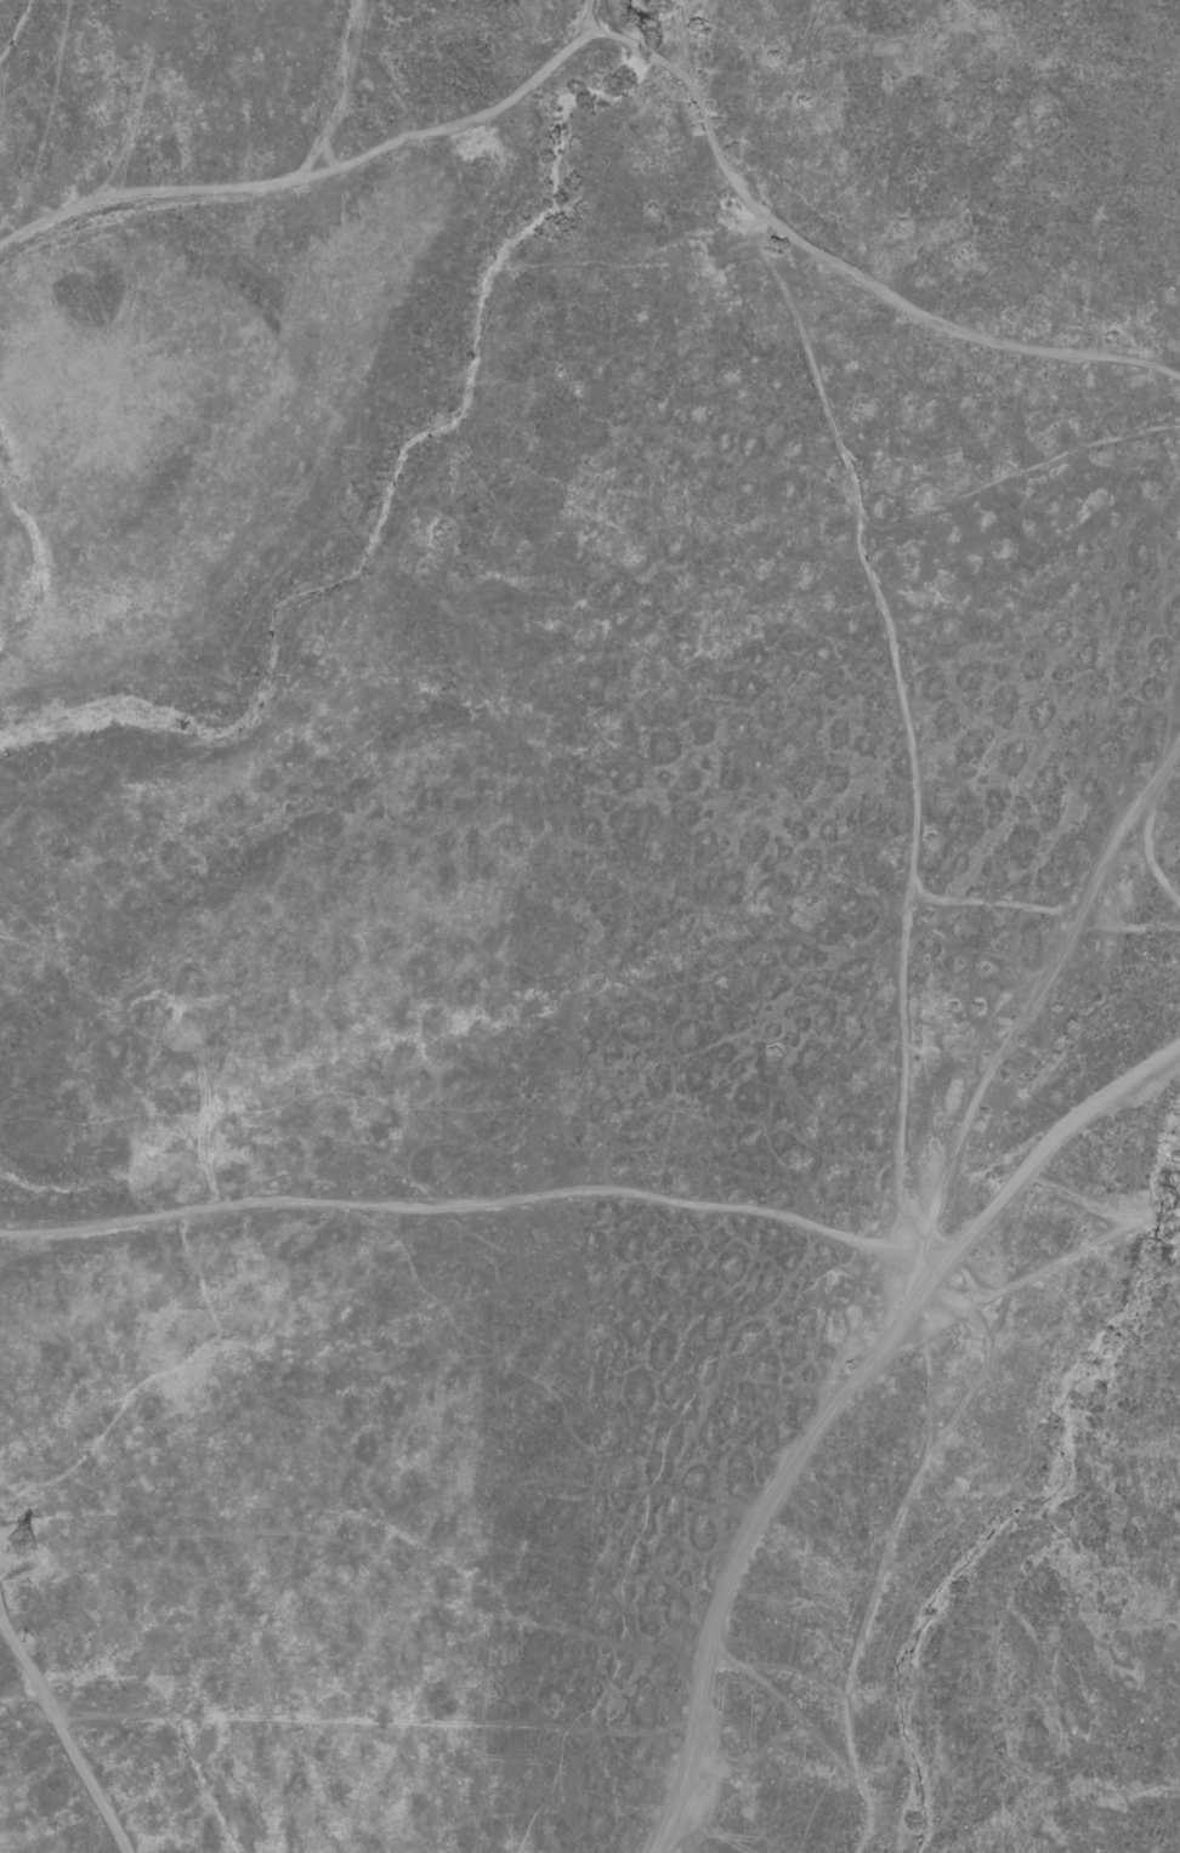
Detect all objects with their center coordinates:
road: (363, 85)
road: (327, 171)
road: (28, 177)
road: (28, 224)
road: (884, 607)
road: (1042, 1159)
road: (450, 1200)
road: (1102, 1205)
road: (920, 1303)
power tower: (40, 1530)
road: (59, 1733)

